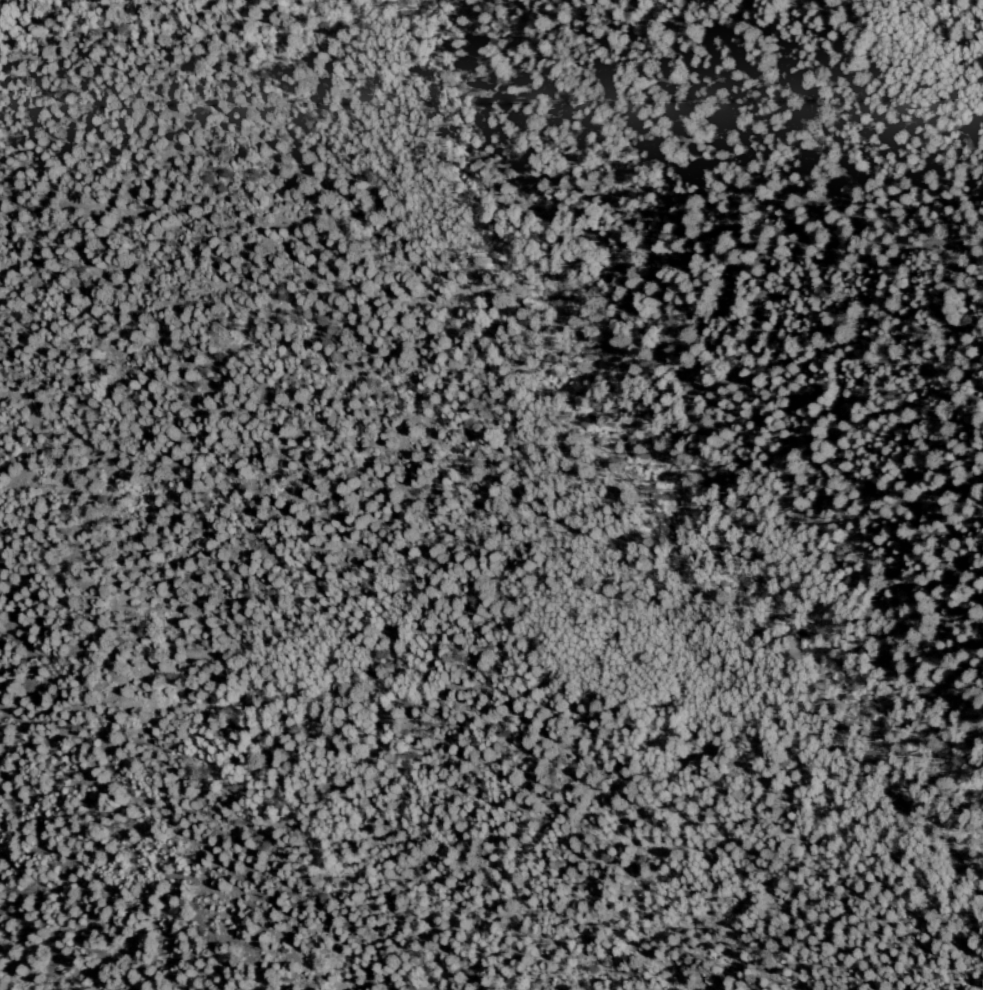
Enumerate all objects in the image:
road: (713, 468)
road: (273, 818)

